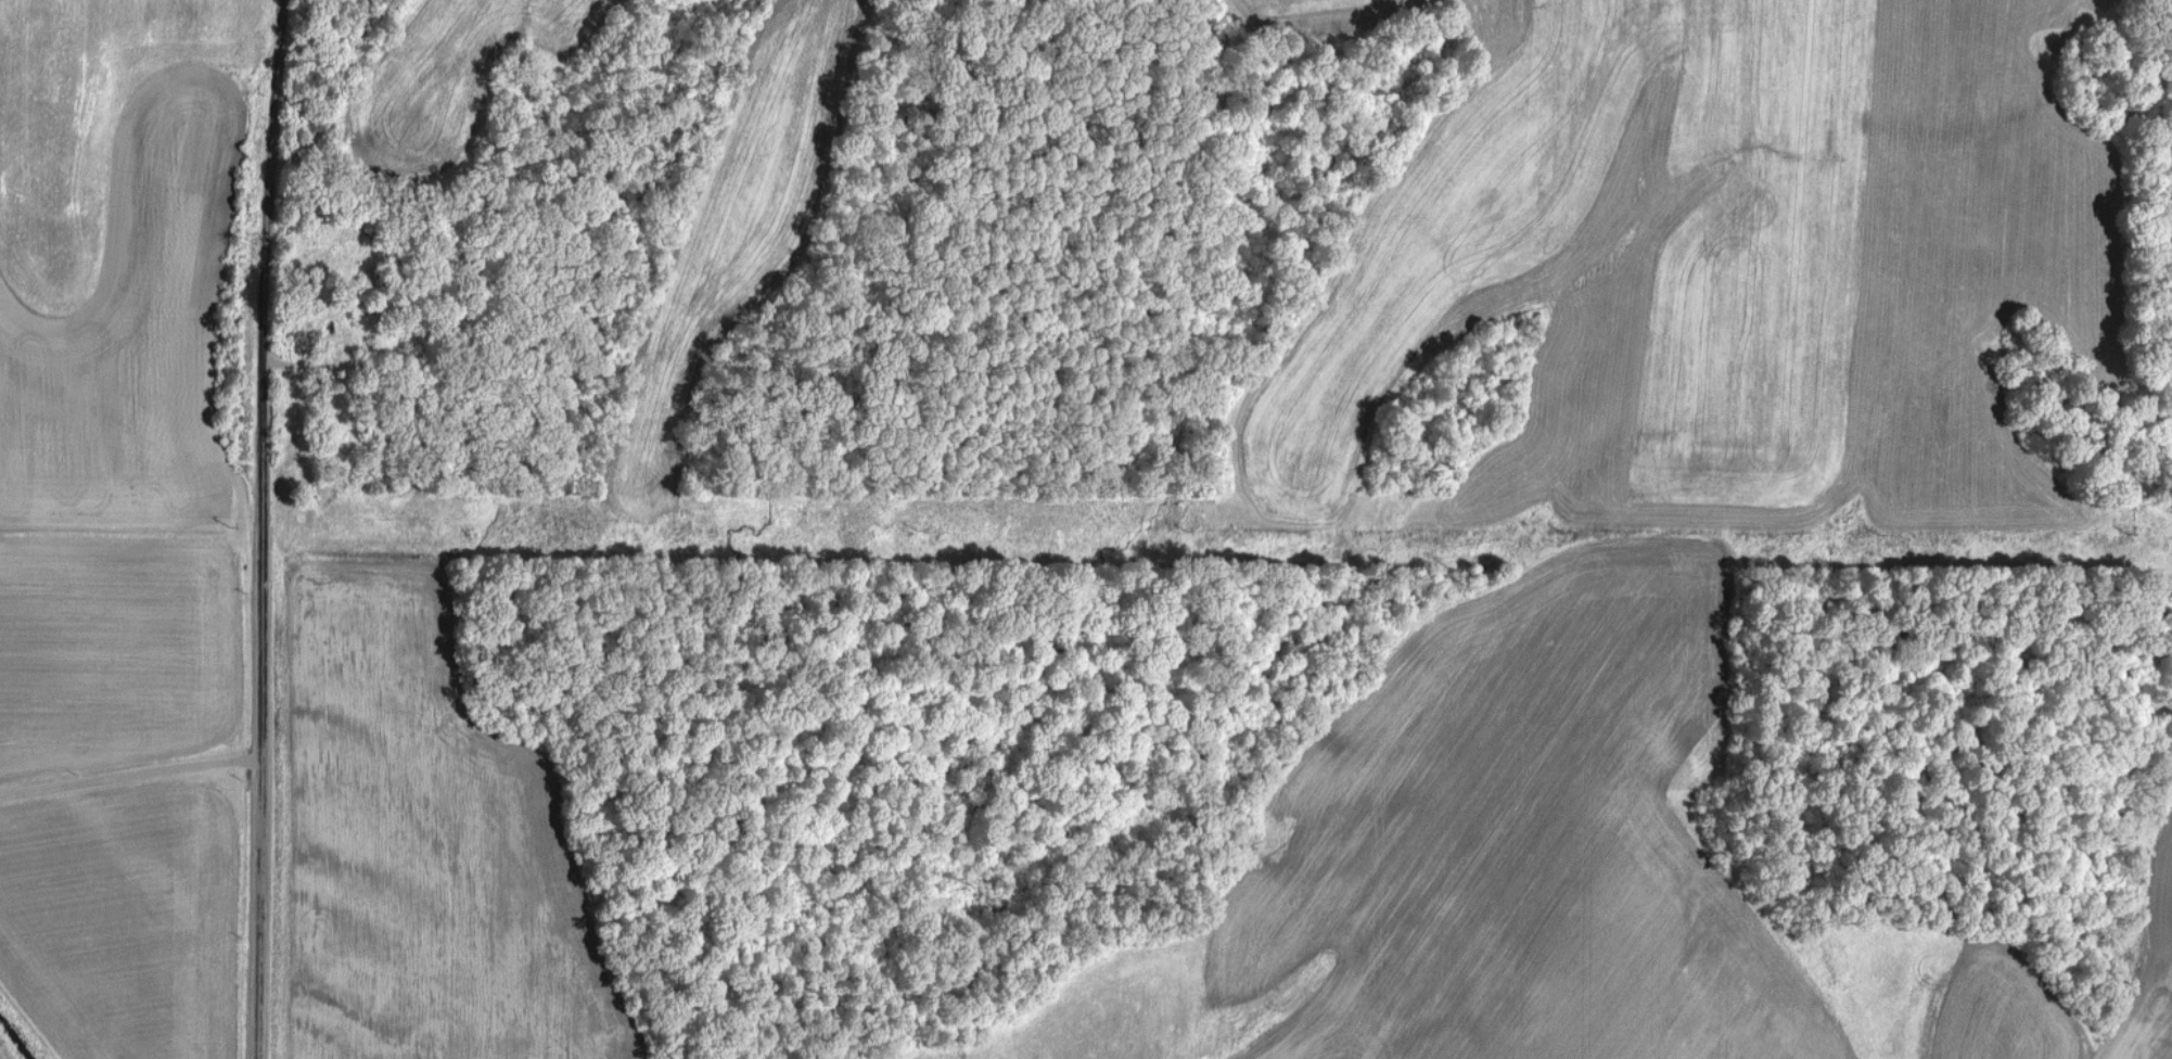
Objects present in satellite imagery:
road: (254, 528)

